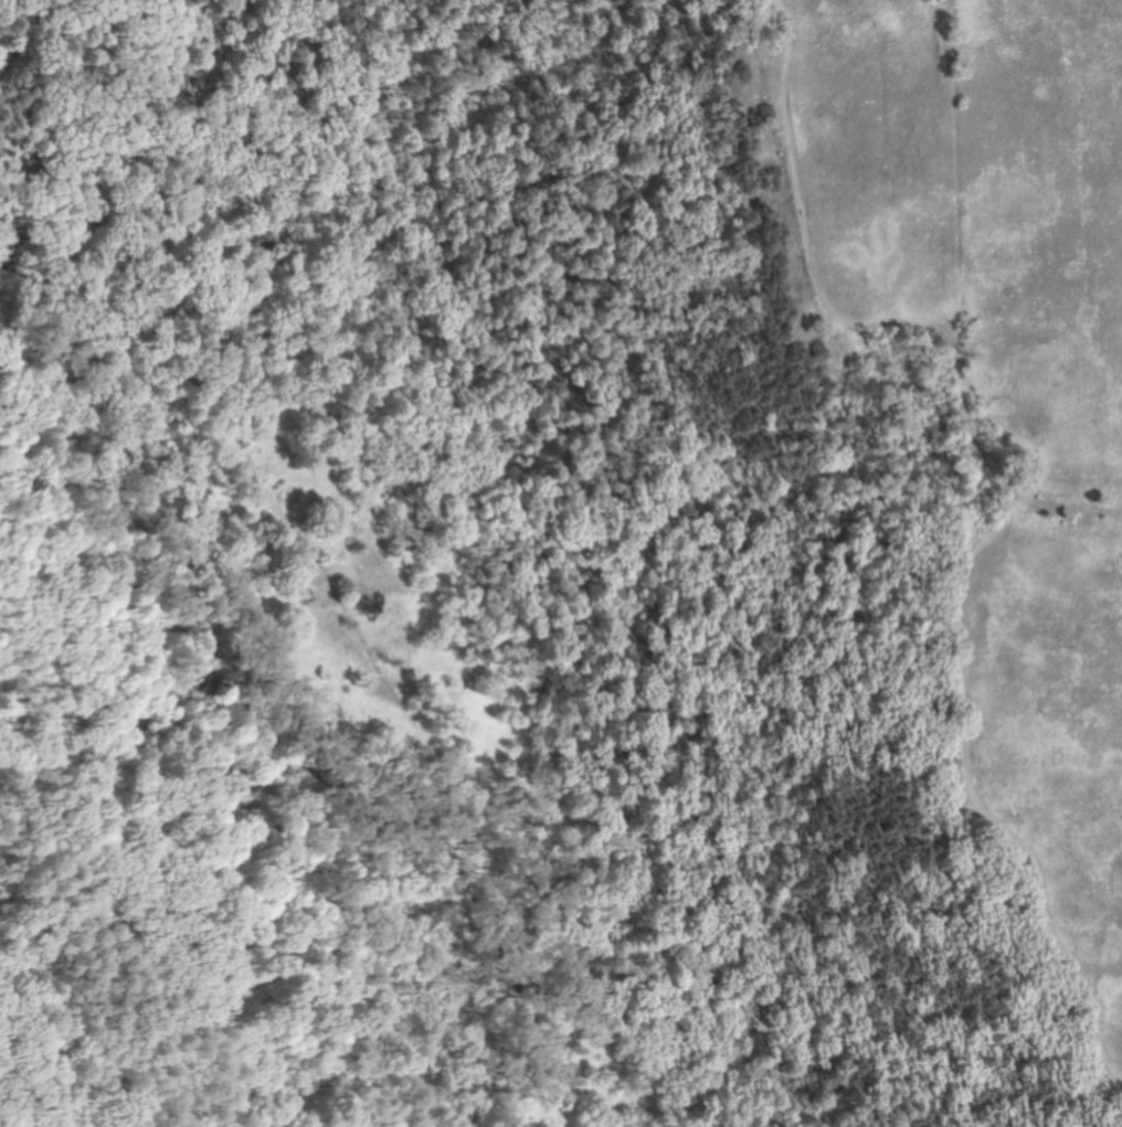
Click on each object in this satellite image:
road: (25, 36)
road: (963, 503)
park: (561, 563)
road: (350, 629)
road: (85, 1029)

